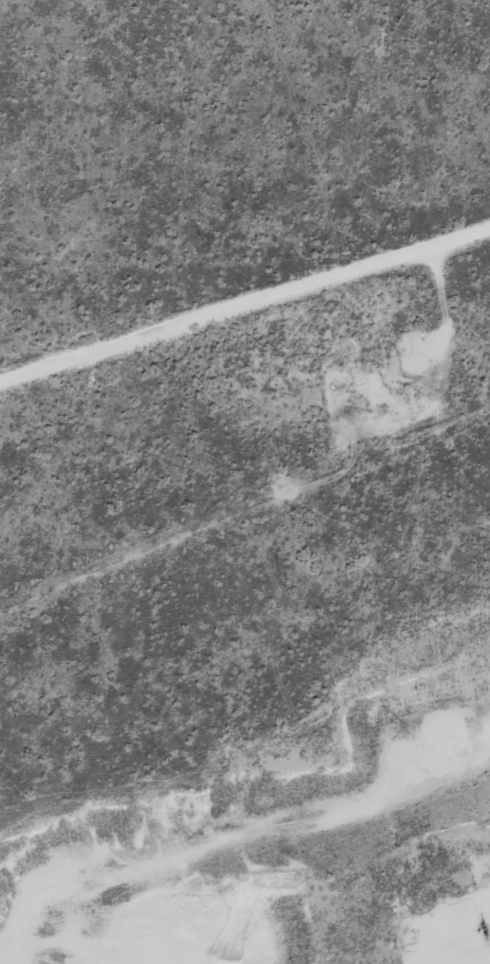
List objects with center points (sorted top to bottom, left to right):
road: (245, 314)

